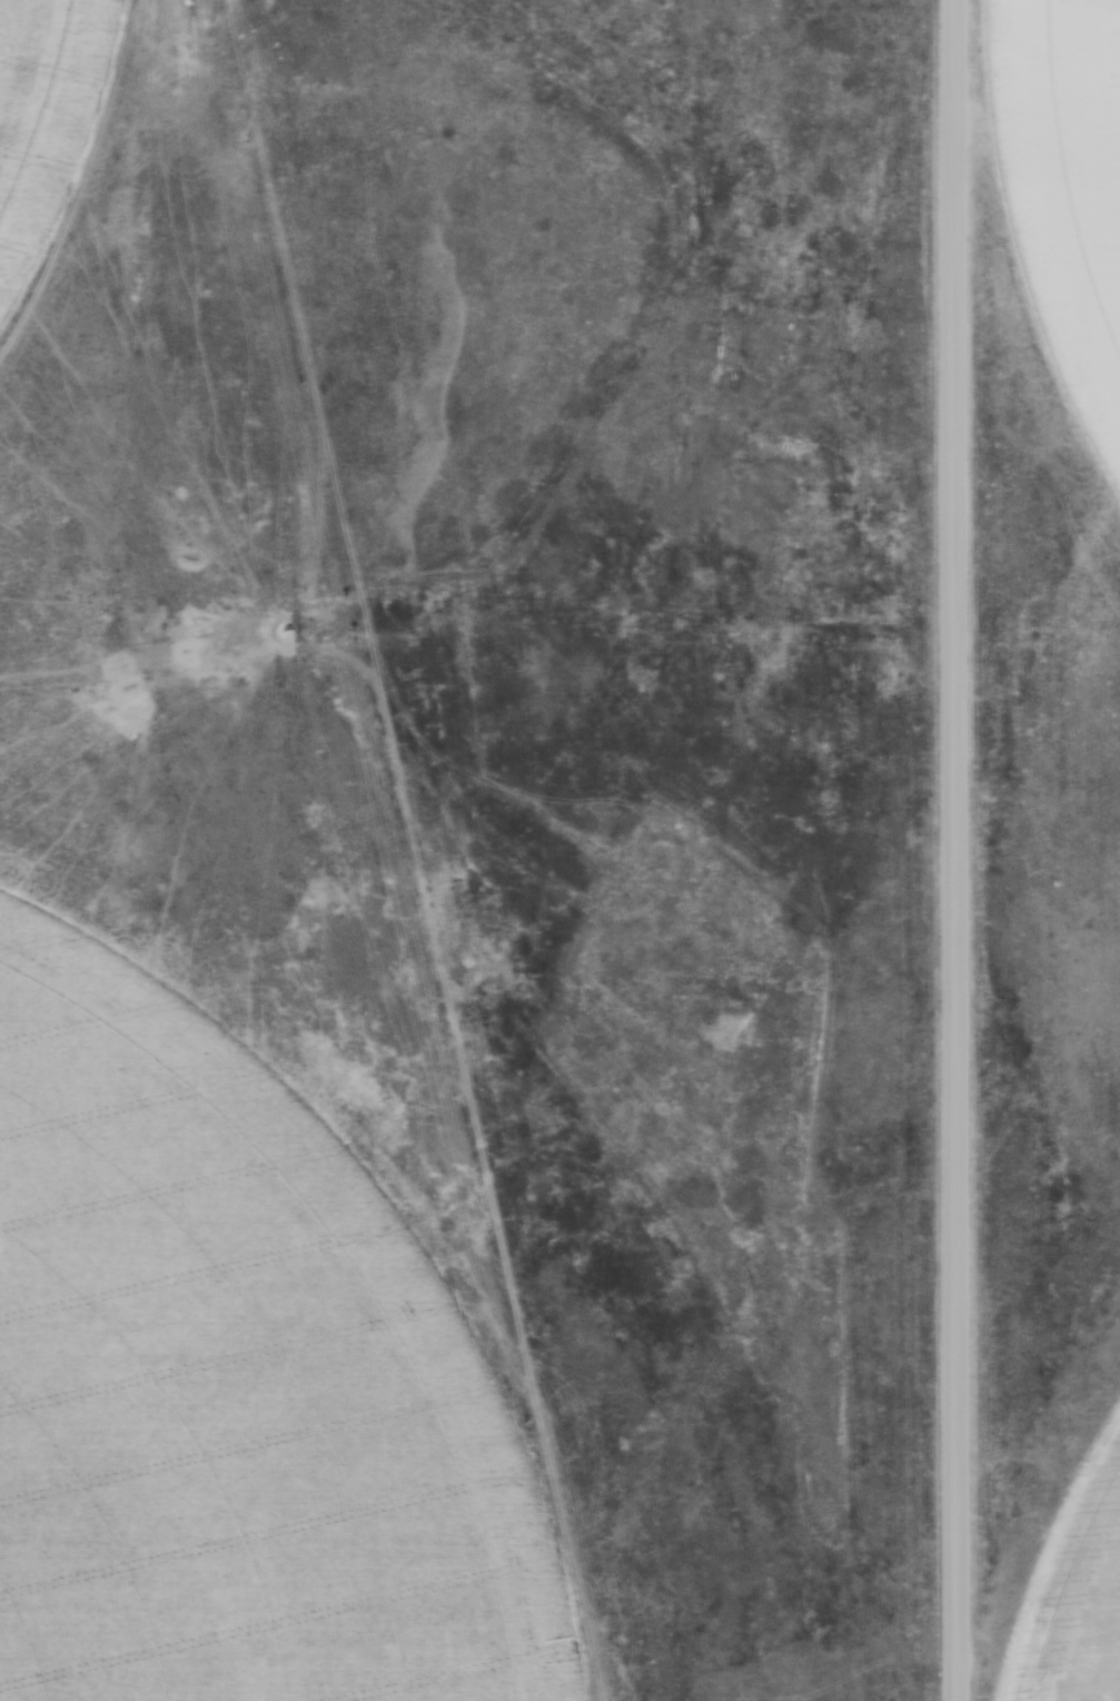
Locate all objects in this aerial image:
building: (1116, 40)
crop: (40, 111)
crop: (1066, 256)
road: (950, 850)
crop: (235, 1385)
crop: (1077, 1603)

